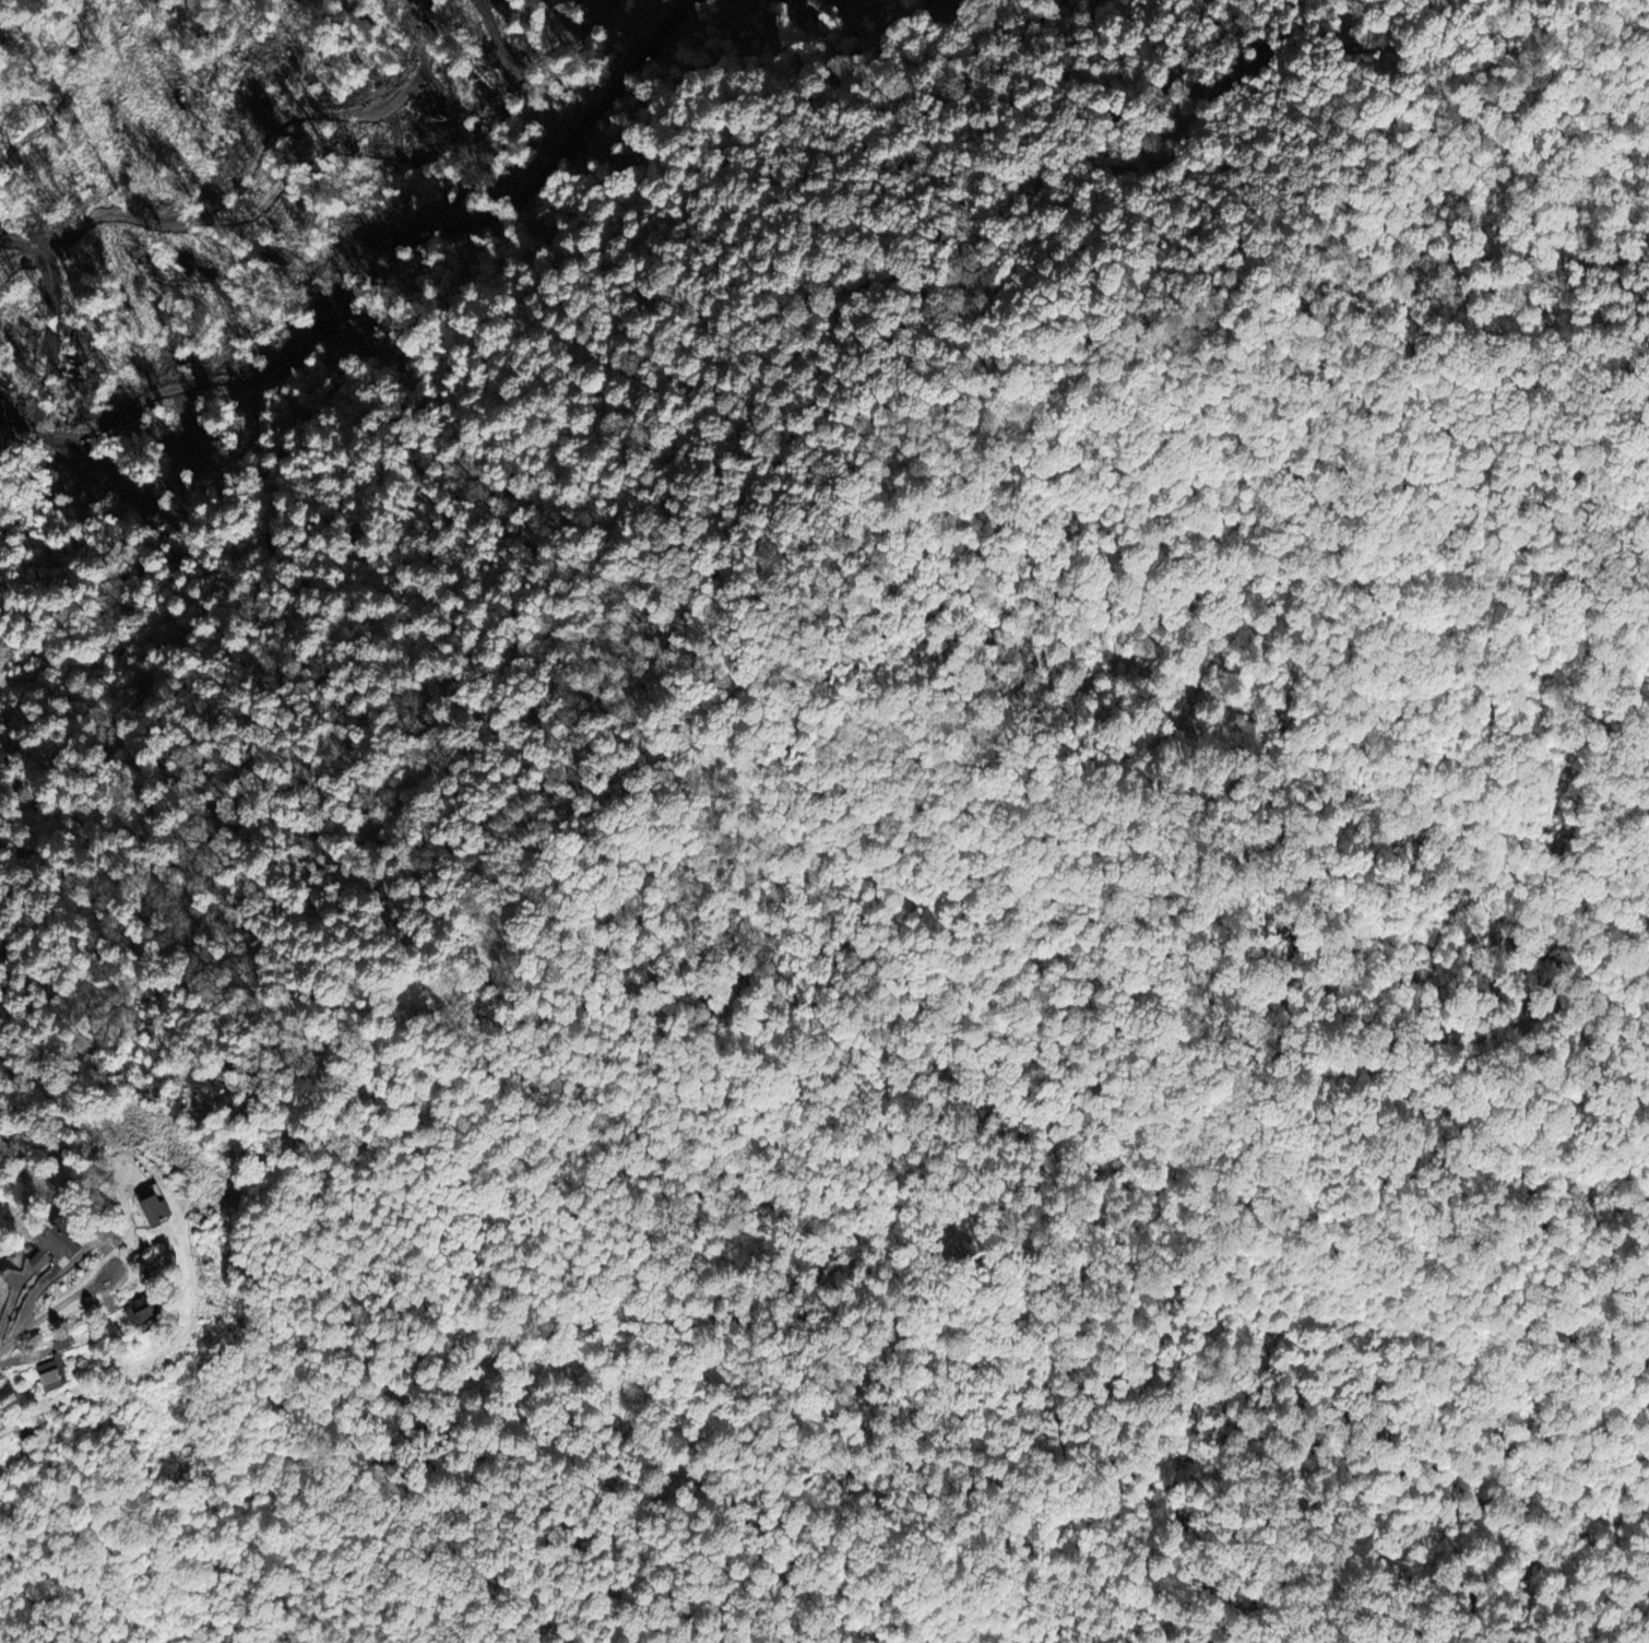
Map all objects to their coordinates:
building: (181, 1207)
building: (94, 1215)
building: (83, 1240)
building: (59, 1258)
building: (168, 1308)
road: (51, 1310)
building: (71, 1373)
building: (10, 1421)

